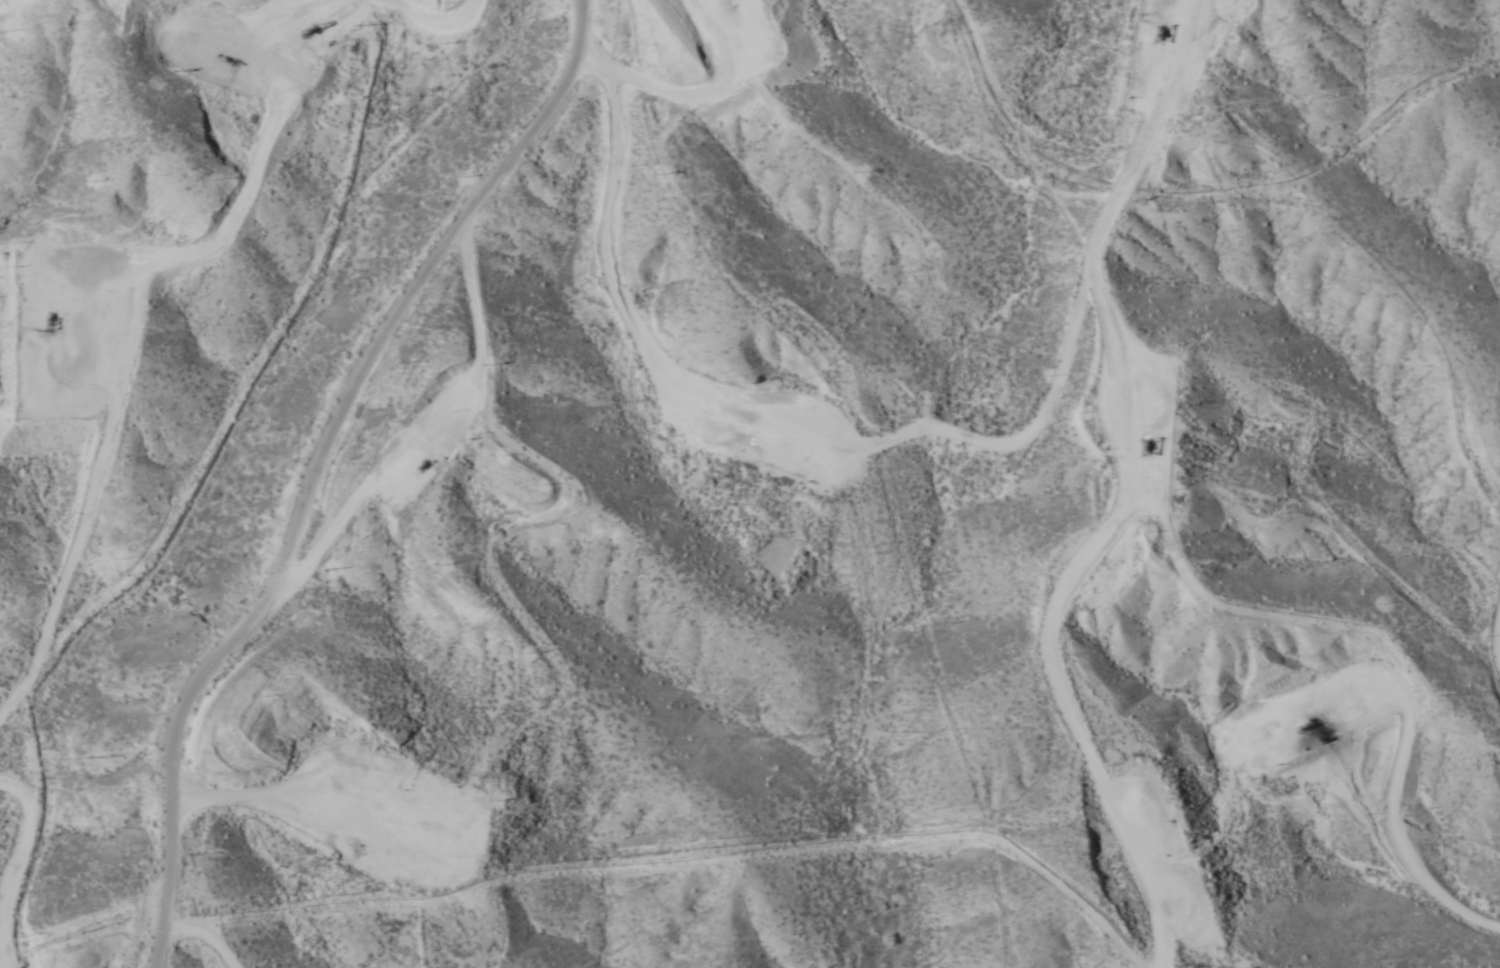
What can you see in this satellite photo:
road: (931, 402)
road: (310, 464)

